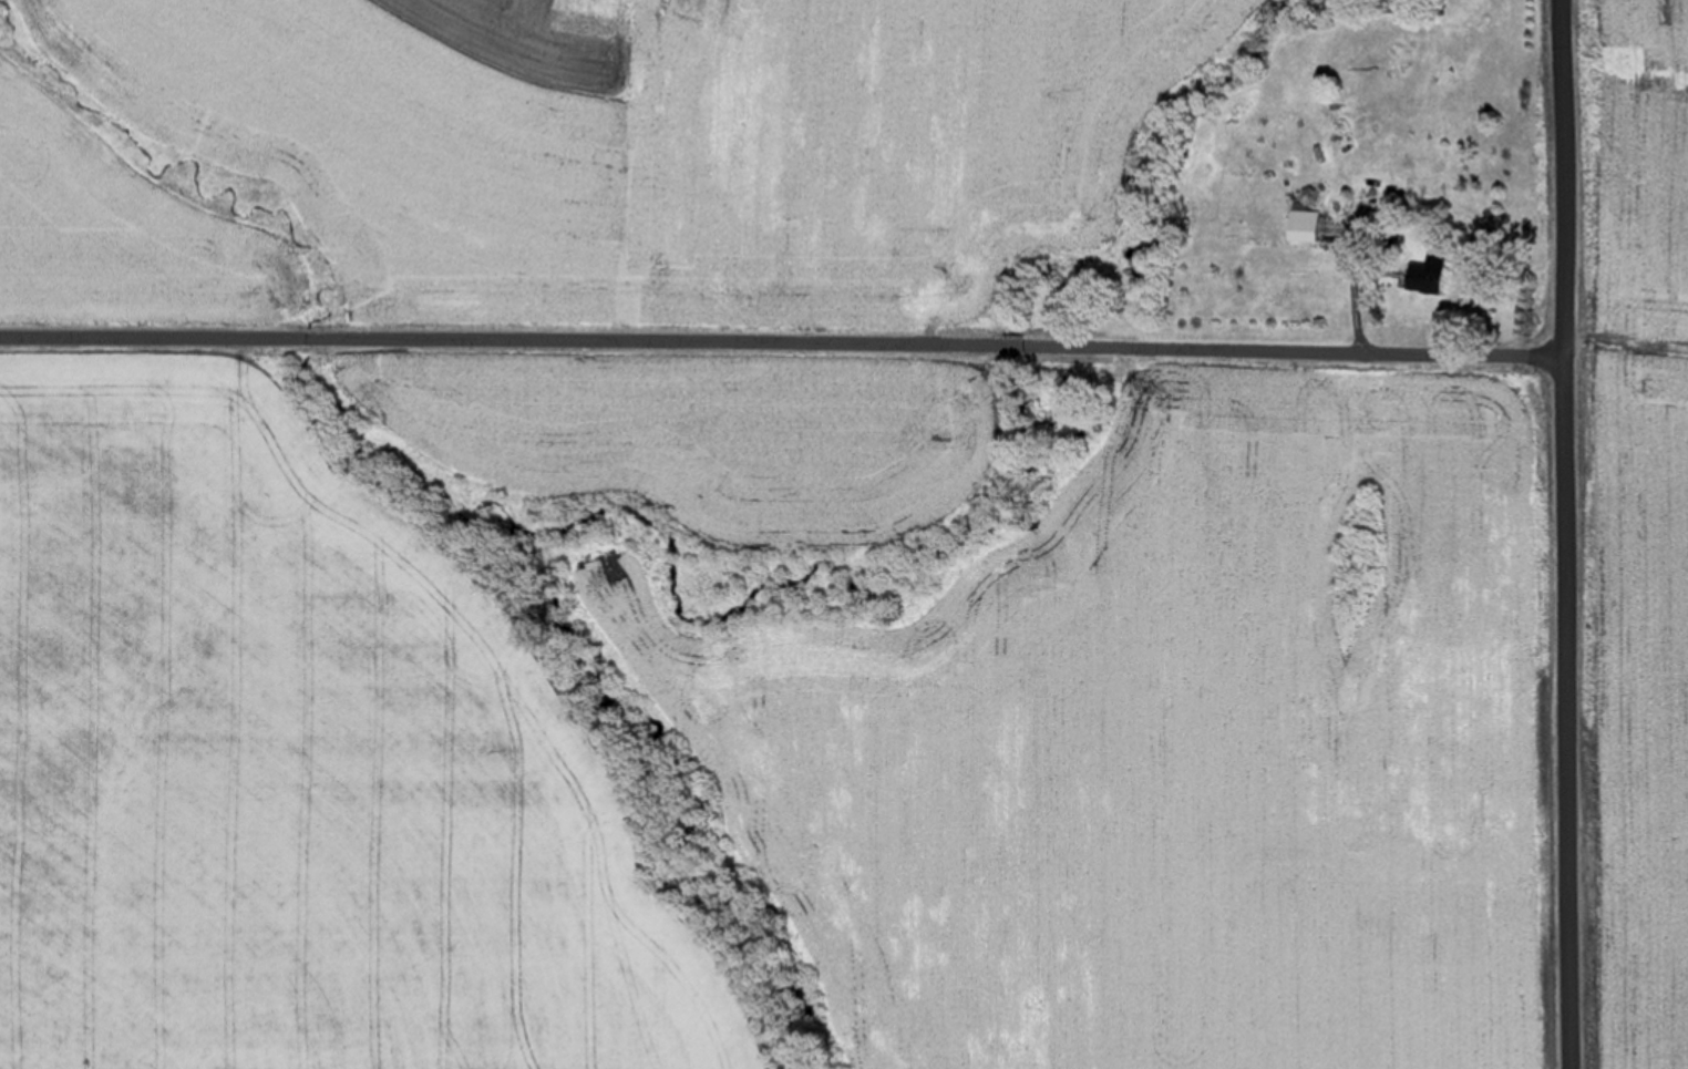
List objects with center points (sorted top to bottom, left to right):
building: (1298, 224)
building: (1422, 275)
road: (782, 342)
road: (1565, 534)

